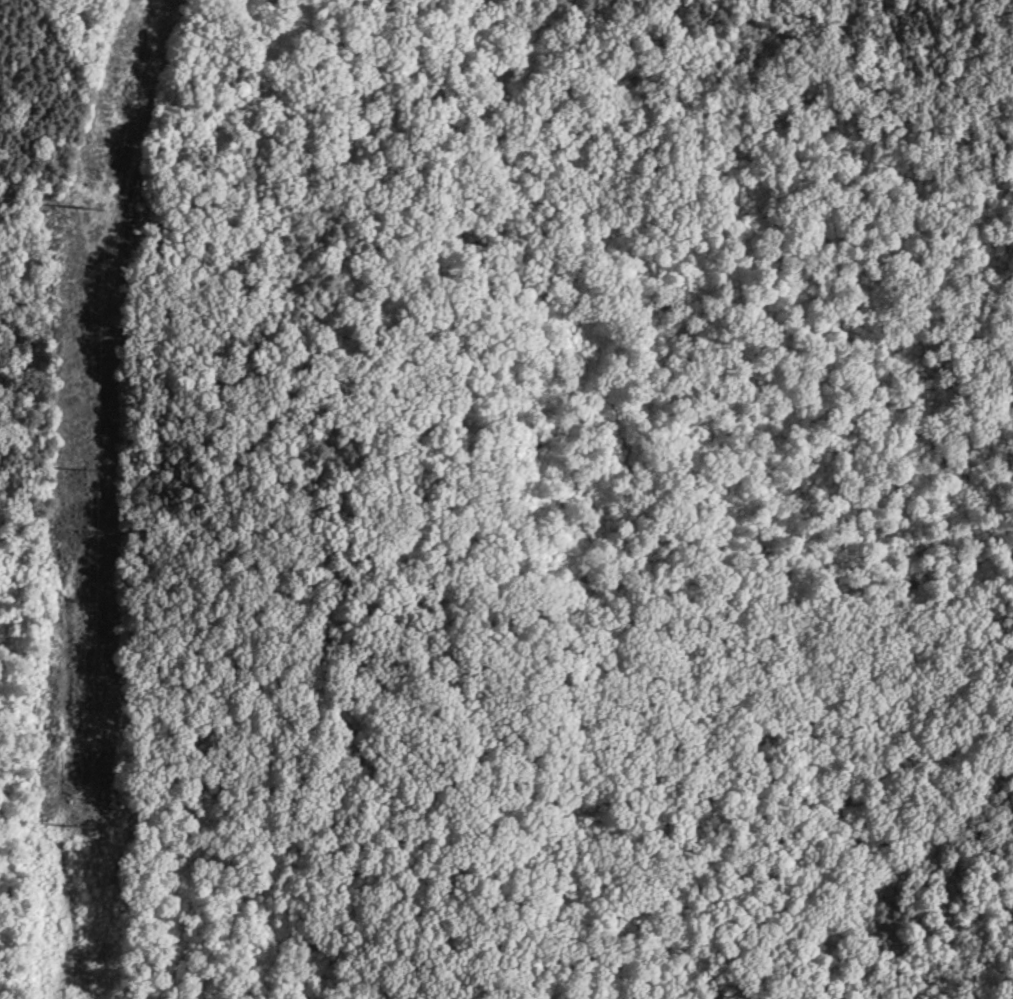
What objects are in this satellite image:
power tower: (85, 207)
power tower: (79, 468)
power tower: (69, 819)

